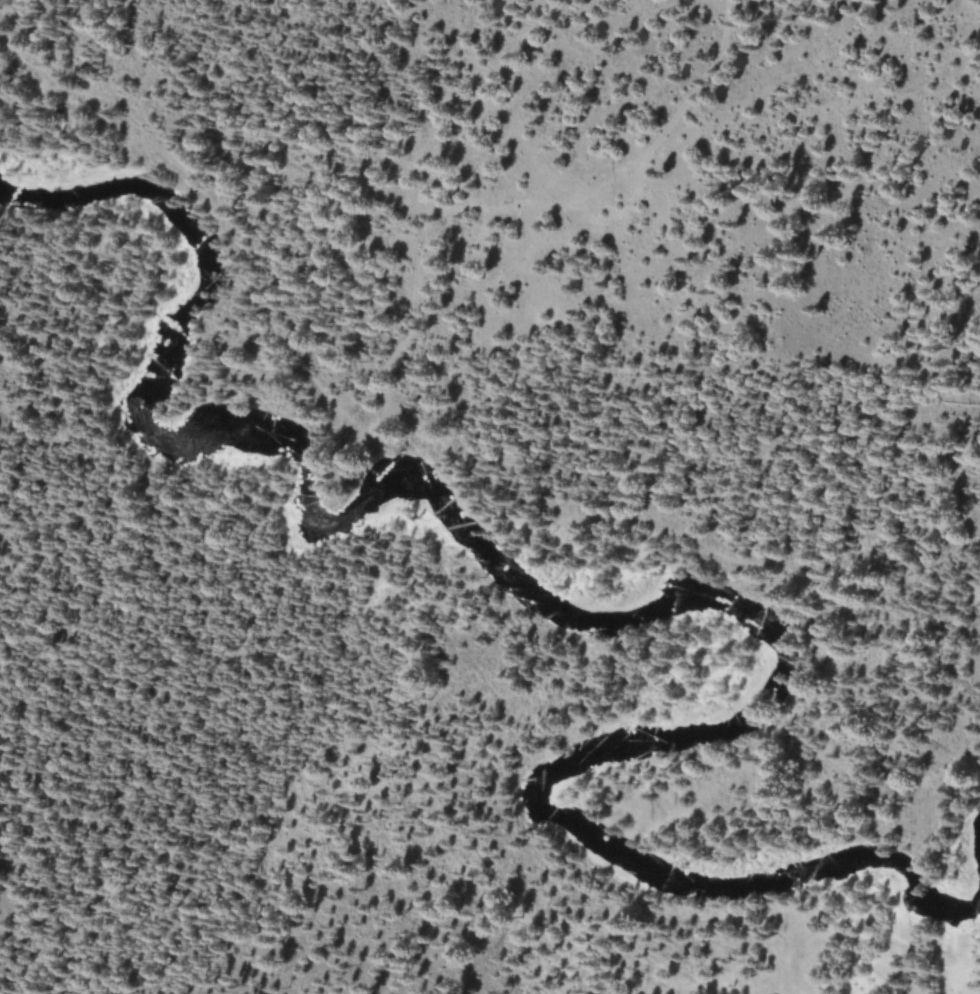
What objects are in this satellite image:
river: (618, 610)
road: (445, 637)

